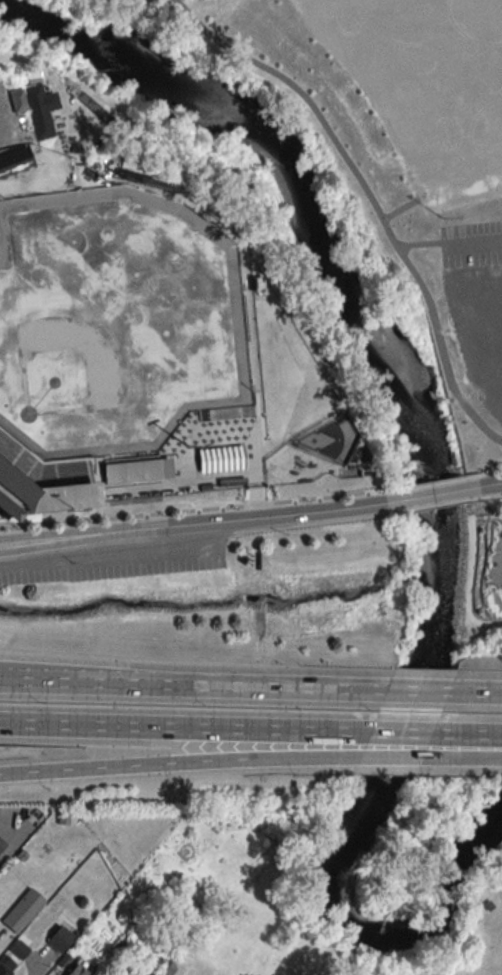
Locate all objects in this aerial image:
parking lot: (426, 86)
building: (33, 104)
road: (6, 147)
building: (14, 158)
road: (367, 198)
road: (402, 208)
road: (204, 215)
road: (470, 239)
parking lot: (470, 242)
road: (415, 243)
building: (473, 284)
road: (270, 453)
building: (223, 456)
road: (223, 456)
road: (190, 458)
road: (38, 459)
building: (128, 467)
road: (128, 467)
road: (487, 471)
stadium: (43, 475)
building: (232, 481)
road: (428, 483)
road: (489, 483)
river: (434, 487)
road: (432, 493)
road: (492, 494)
road: (255, 499)
building: (6, 505)
road: (191, 509)
road: (194, 522)
road: (118, 555)
road: (494, 565)
road: (468, 568)
park: (482, 578)
road: (54, 687)
road: (244, 690)
road: (422, 691)
road: (483, 692)
road: (184, 726)
road: (413, 733)
road: (480, 734)
road: (478, 751)
road: (406, 755)
road: (292, 758)
road: (113, 766)
building: (2, 845)
building: (23, 910)
building: (60, 939)
building: (21, 947)
road: (38, 961)
building: (482, 964)
building: (172, 969)
building: (4, 970)
building: (78, 971)

